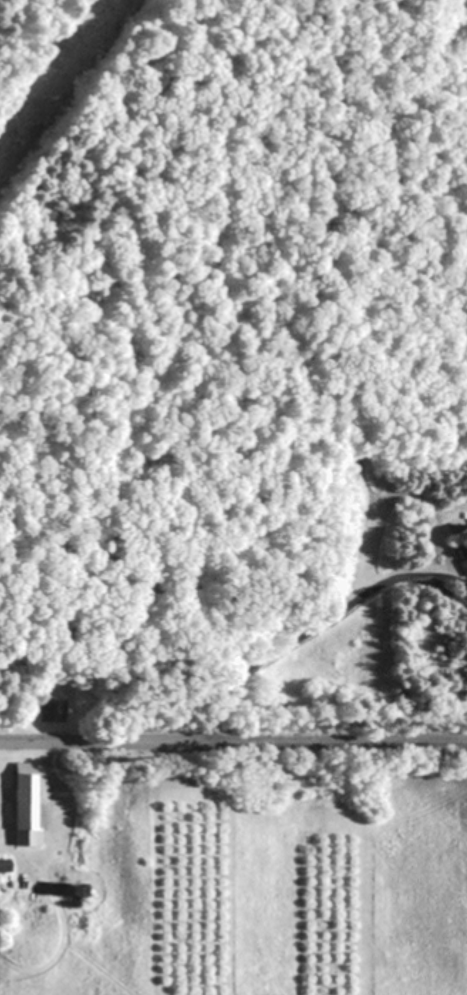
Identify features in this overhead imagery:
power tower: (14, 141)
building: (460, 546)
road: (319, 625)
road: (233, 741)
building: (30, 805)

